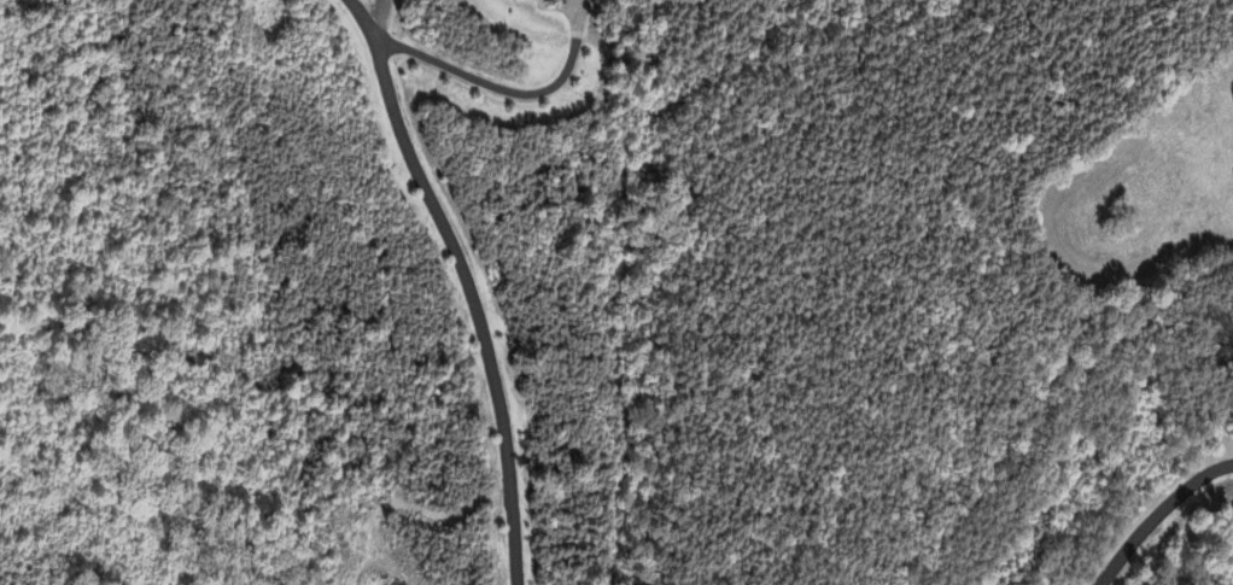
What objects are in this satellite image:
building: (571, 16)
road: (507, 82)
road: (472, 282)
road: (1163, 520)

